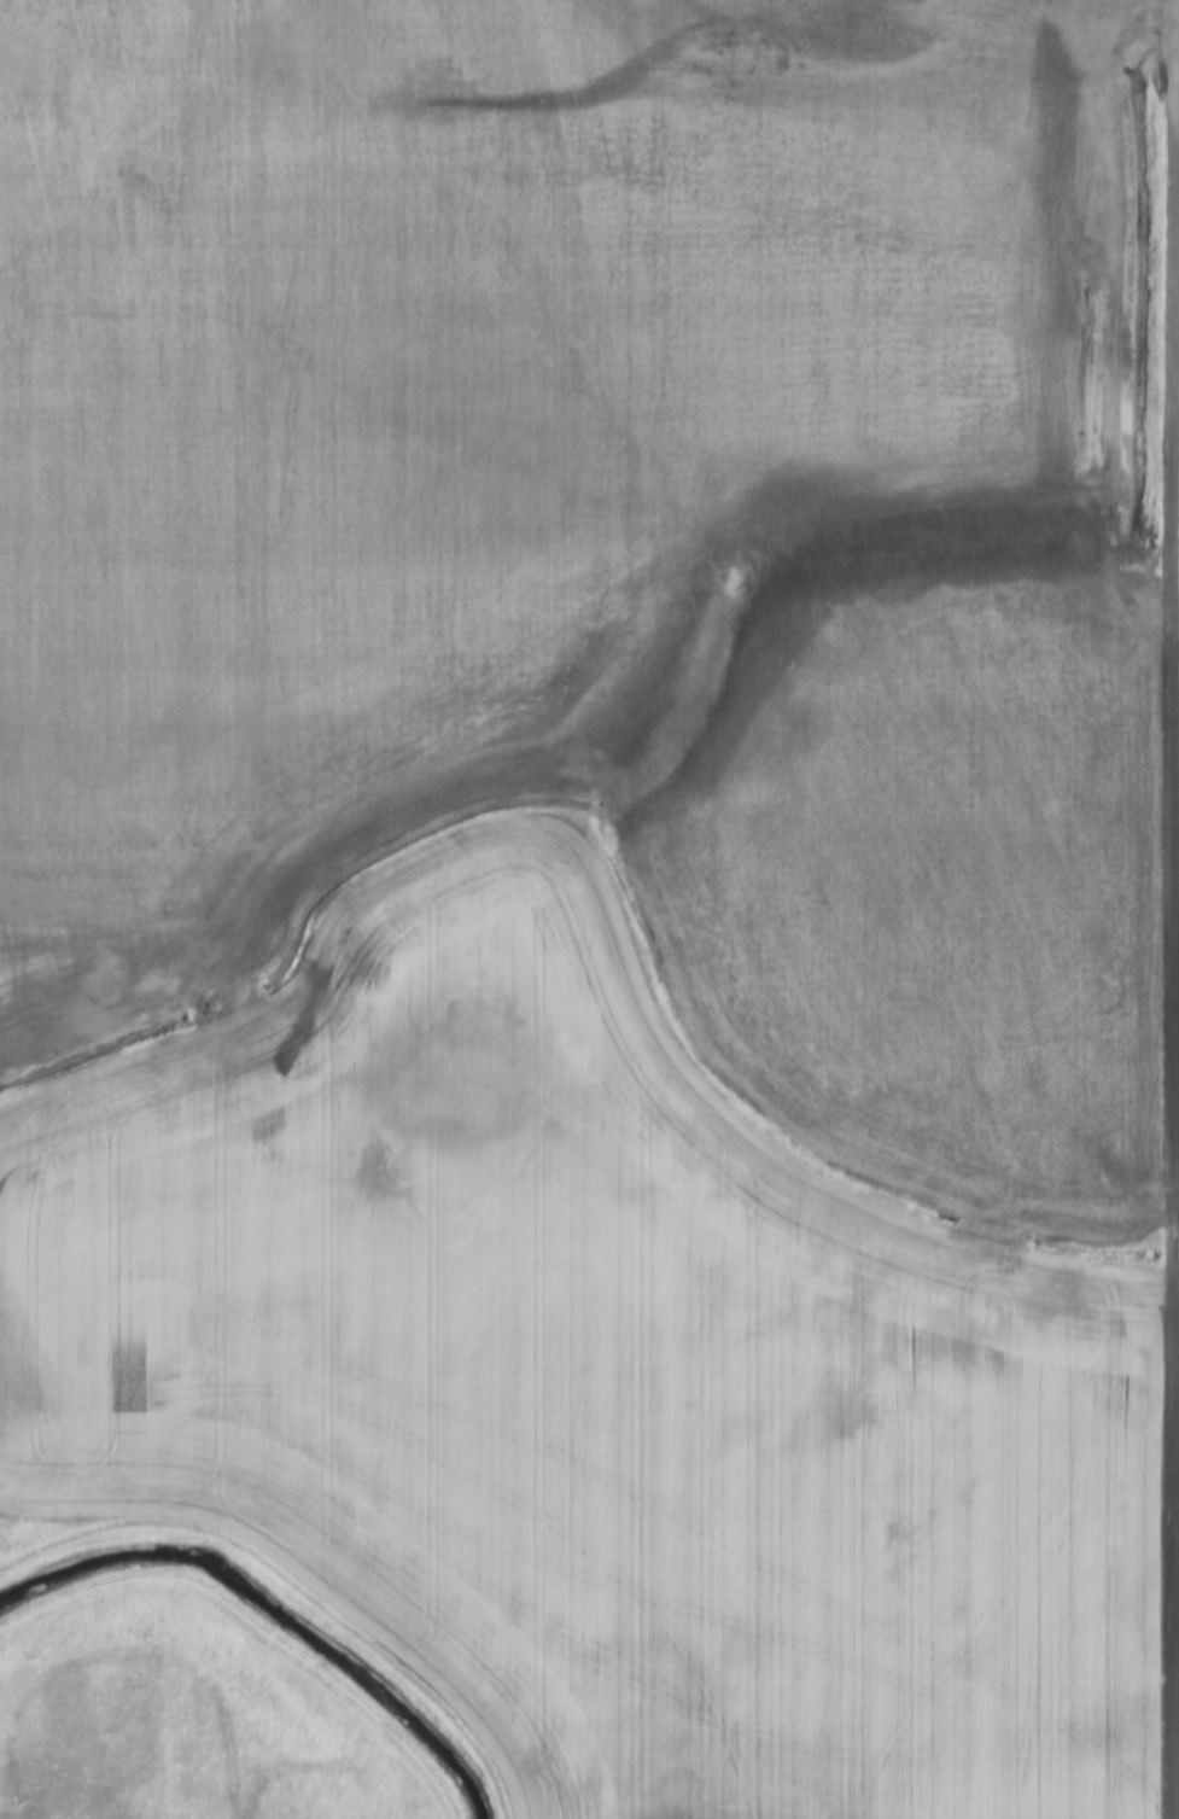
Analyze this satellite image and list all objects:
road: (1172, 871)

